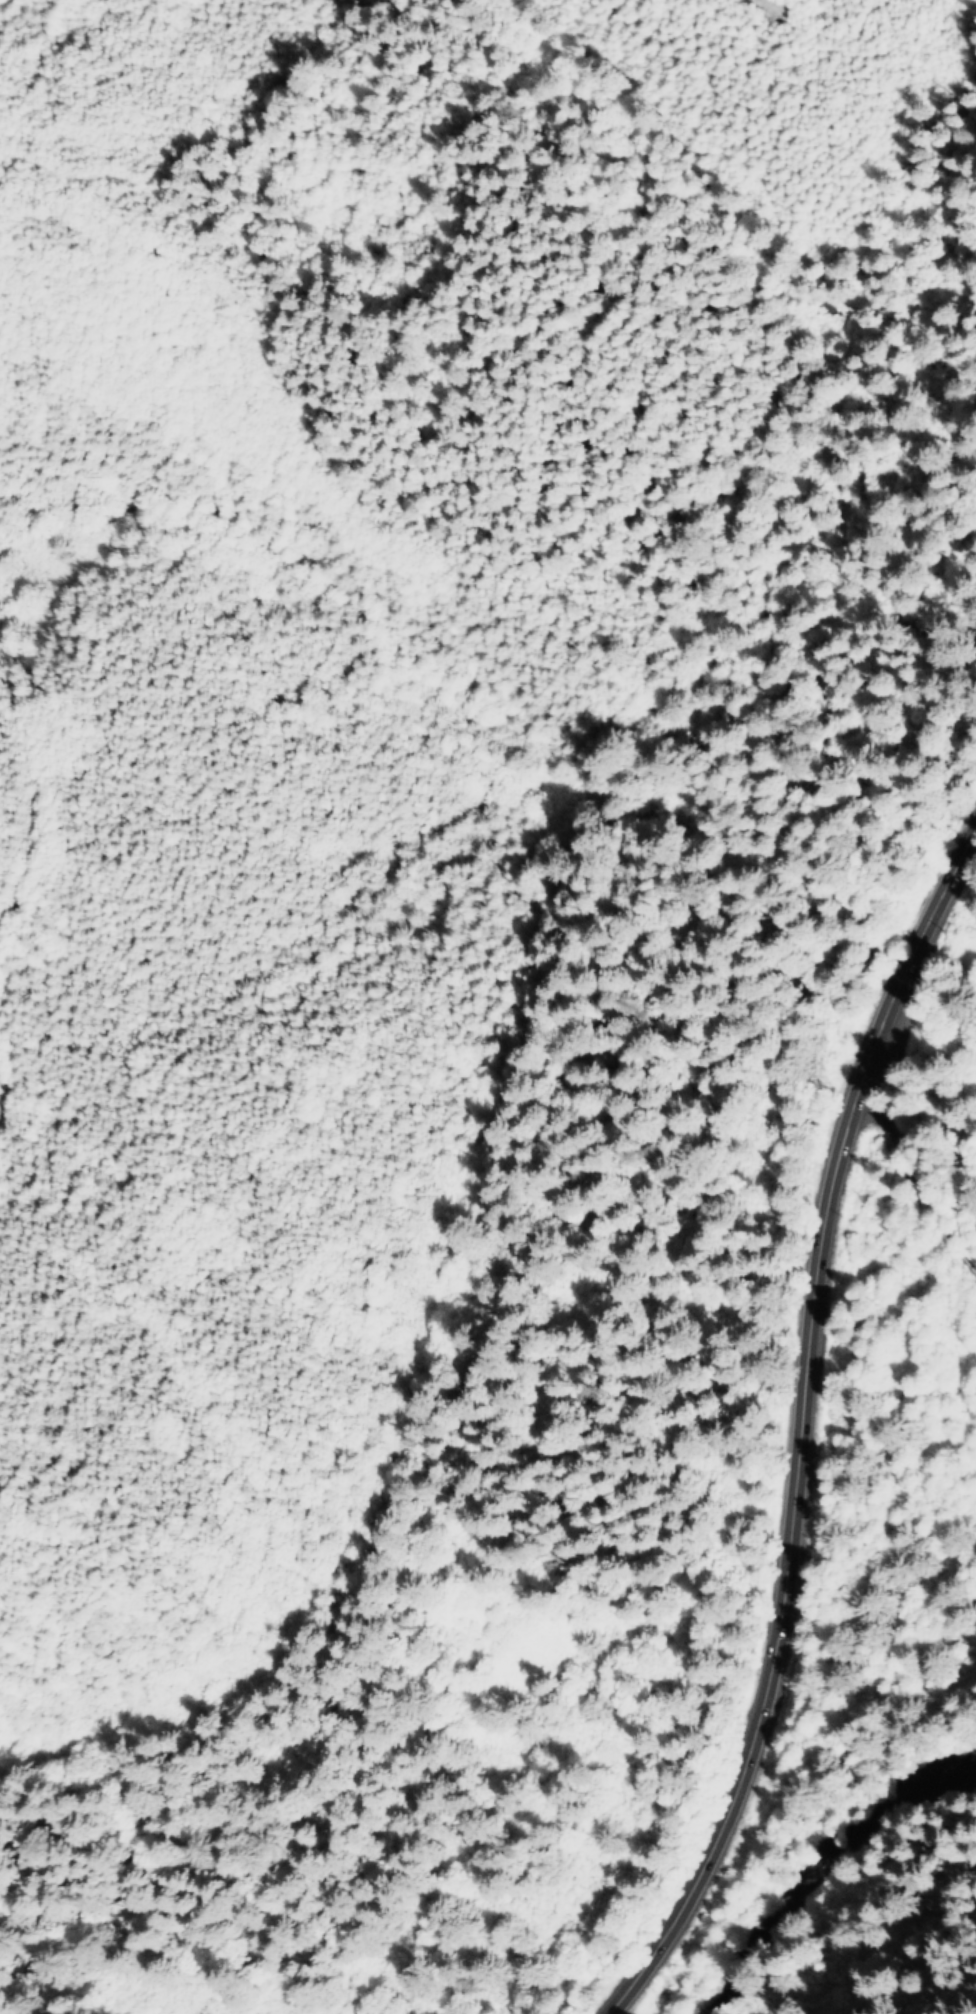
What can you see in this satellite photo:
road: (805, 1424)
river: (831, 1887)

